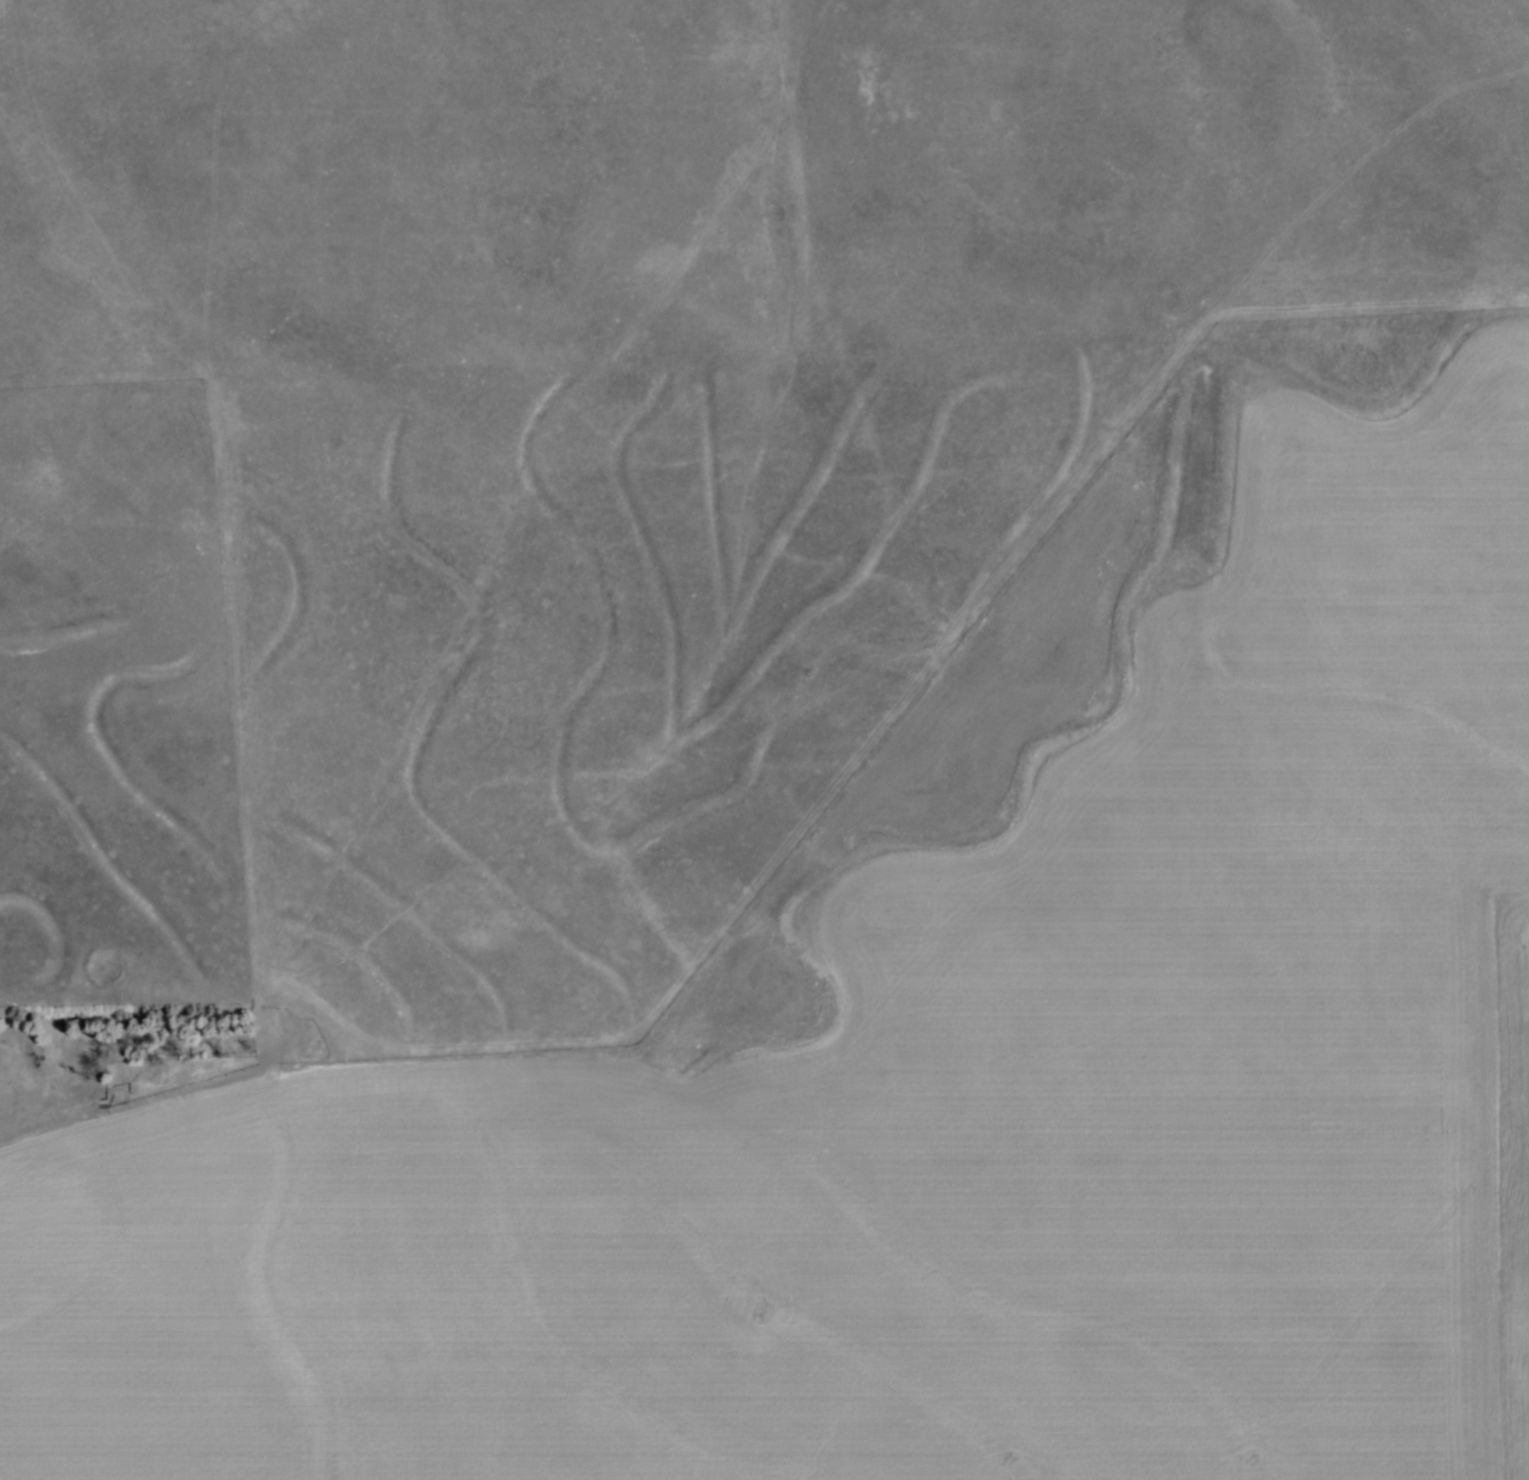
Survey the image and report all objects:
crop: (958, 1058)

